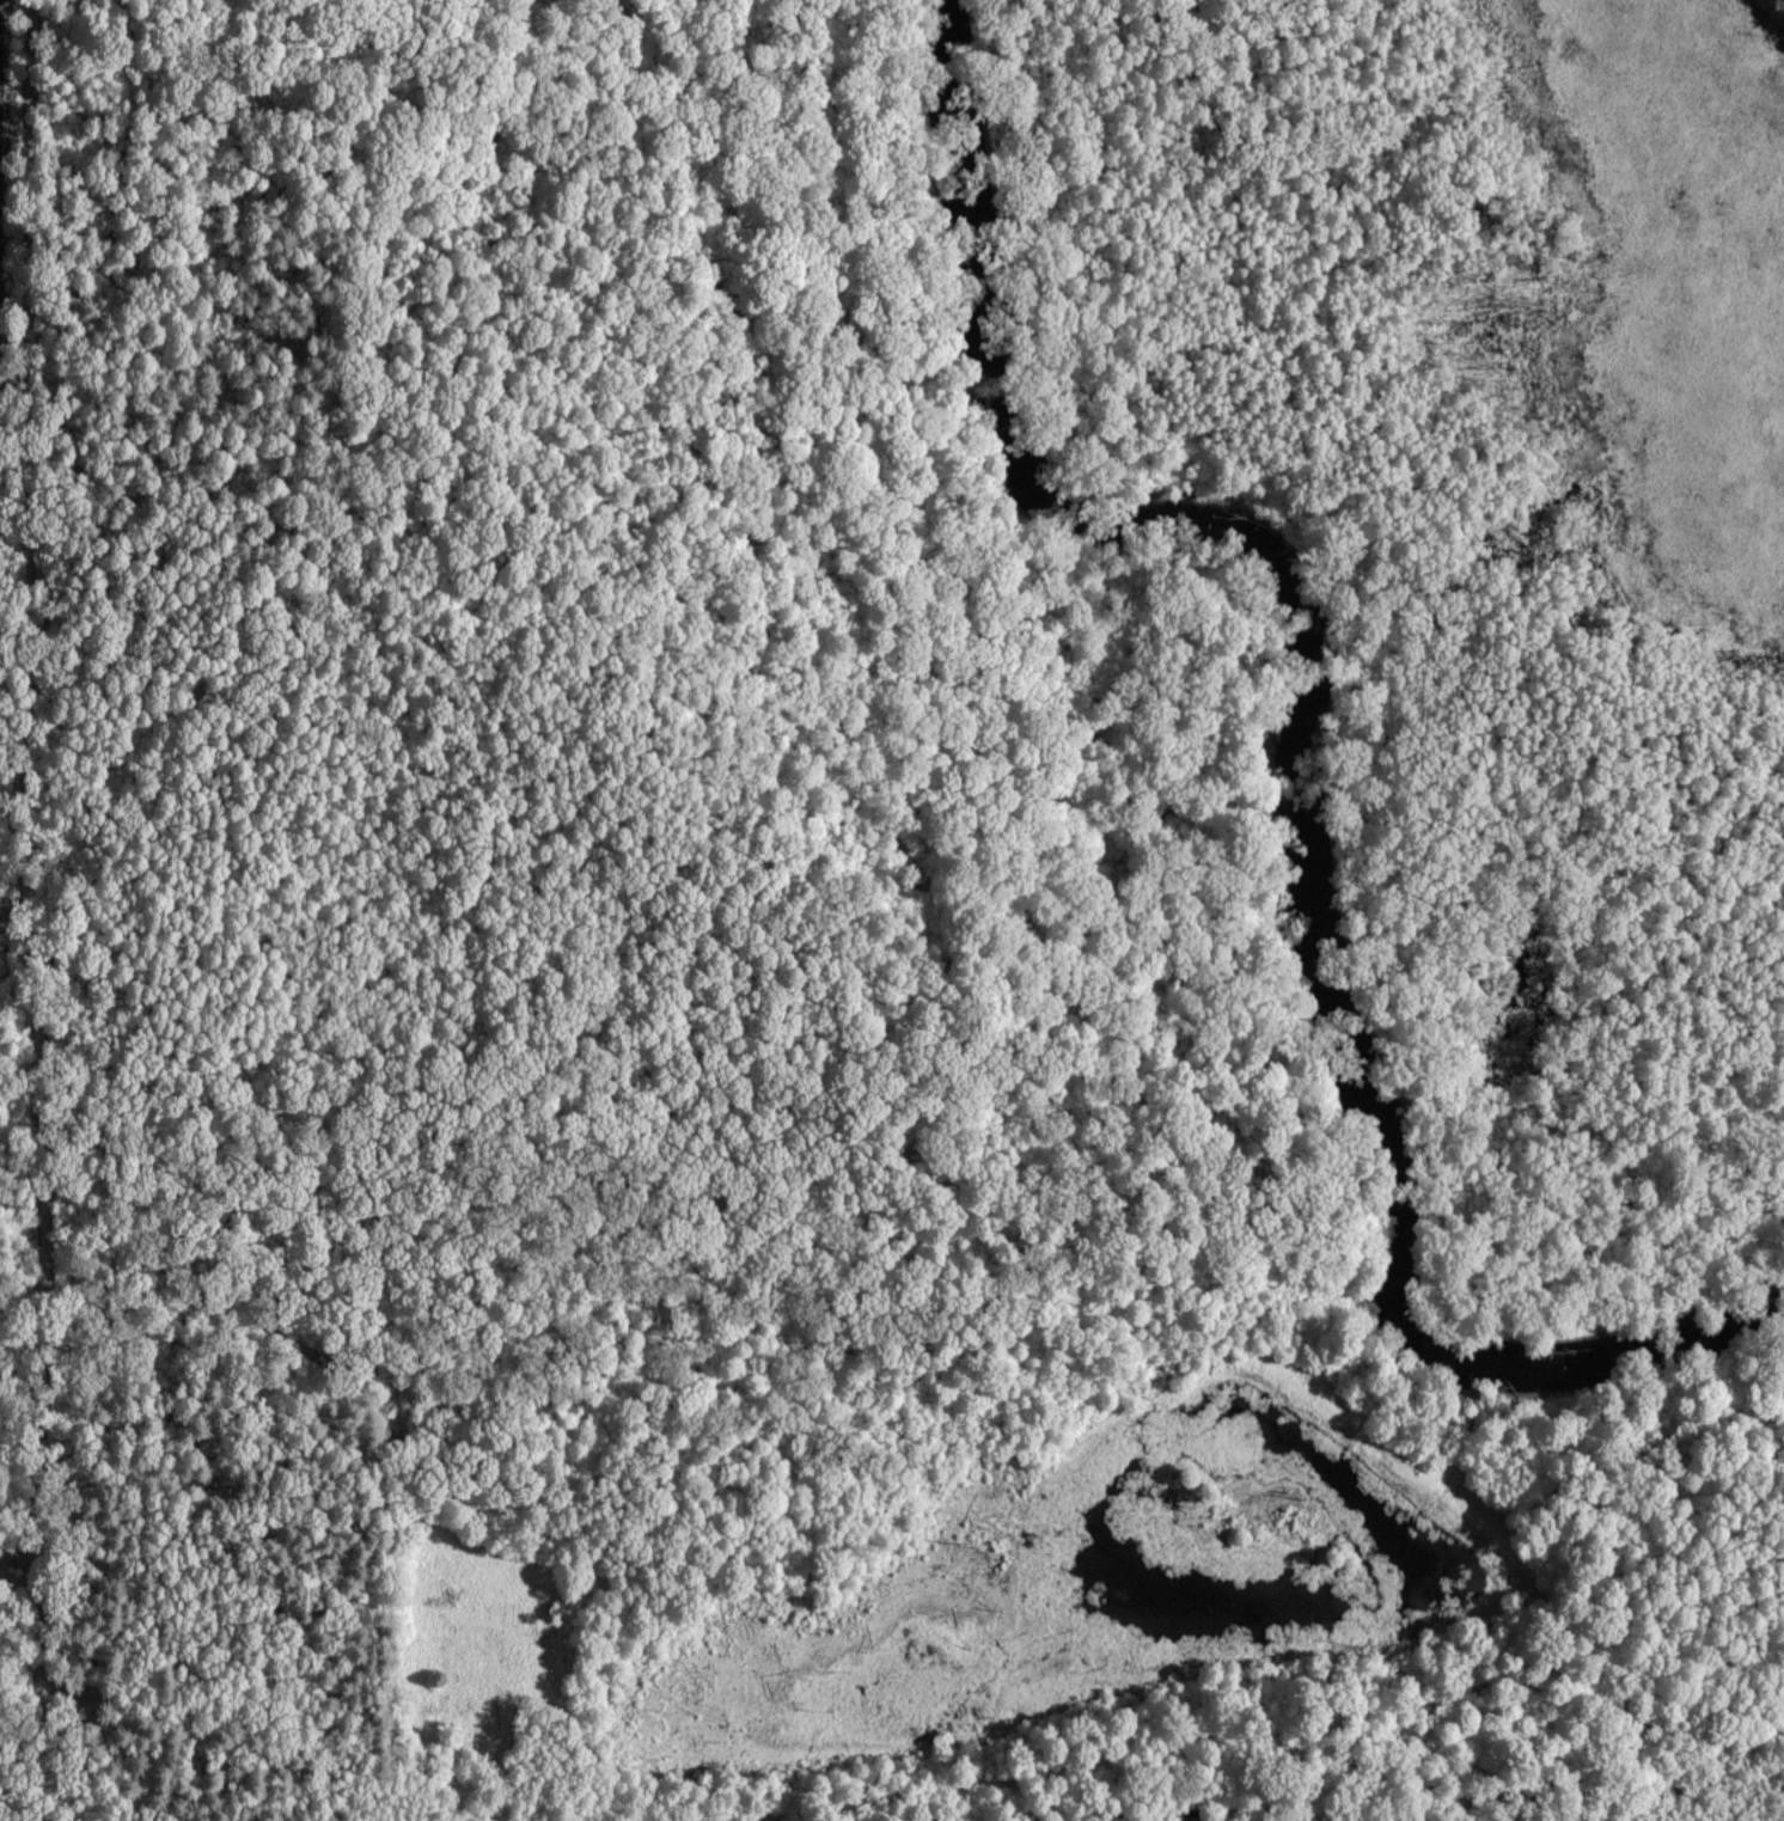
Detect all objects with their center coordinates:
river: (1269, 818)
road: (29, 910)

